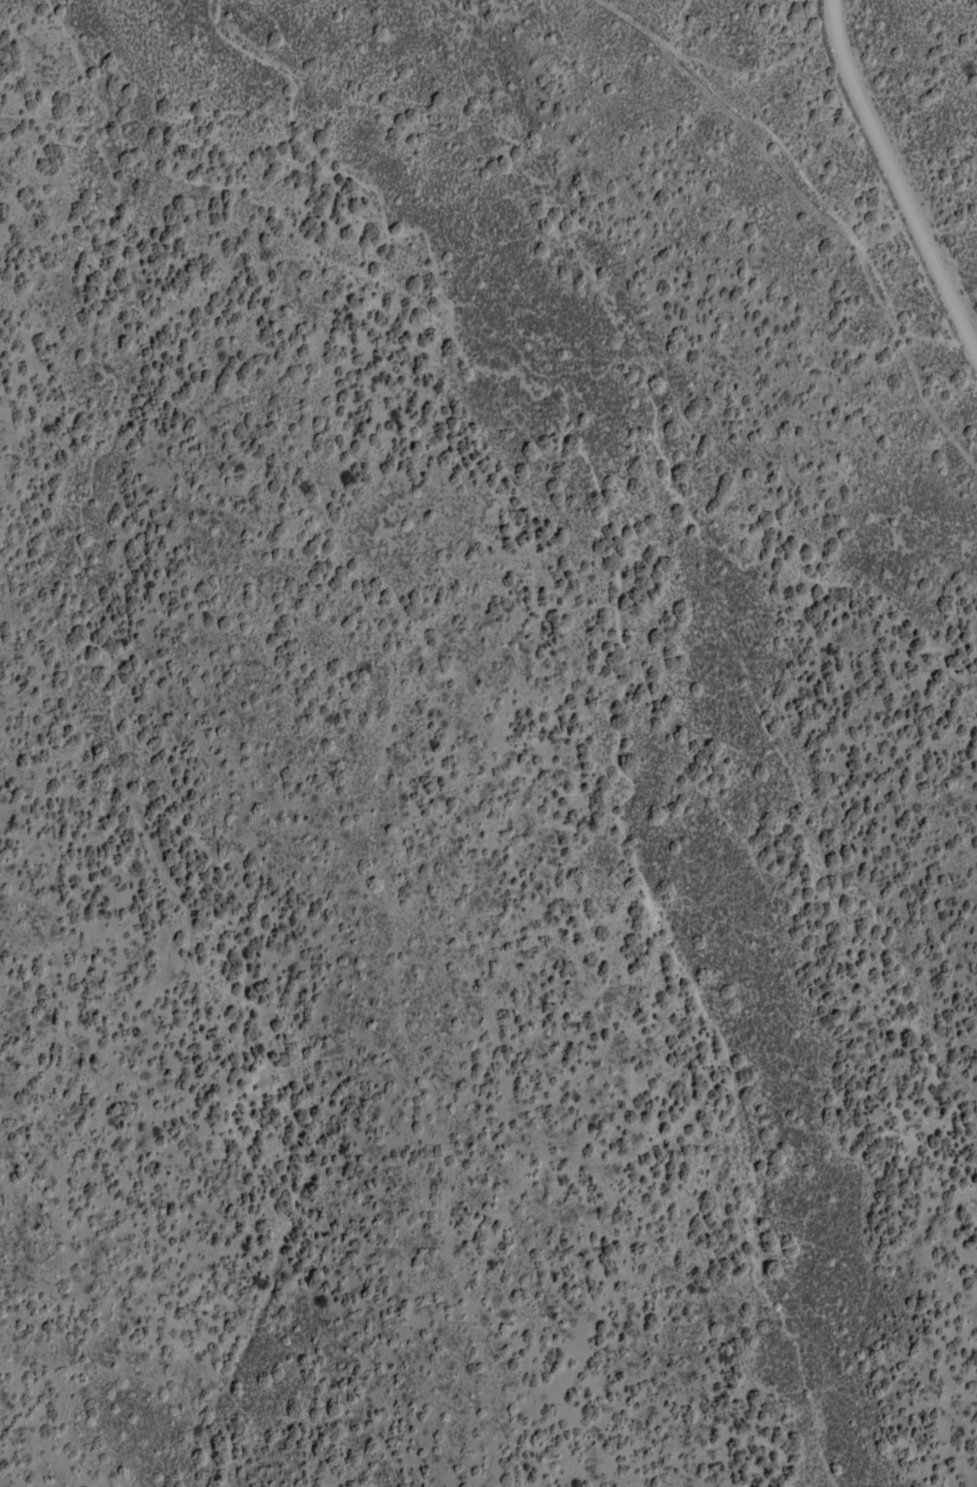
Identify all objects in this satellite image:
road: (895, 179)

